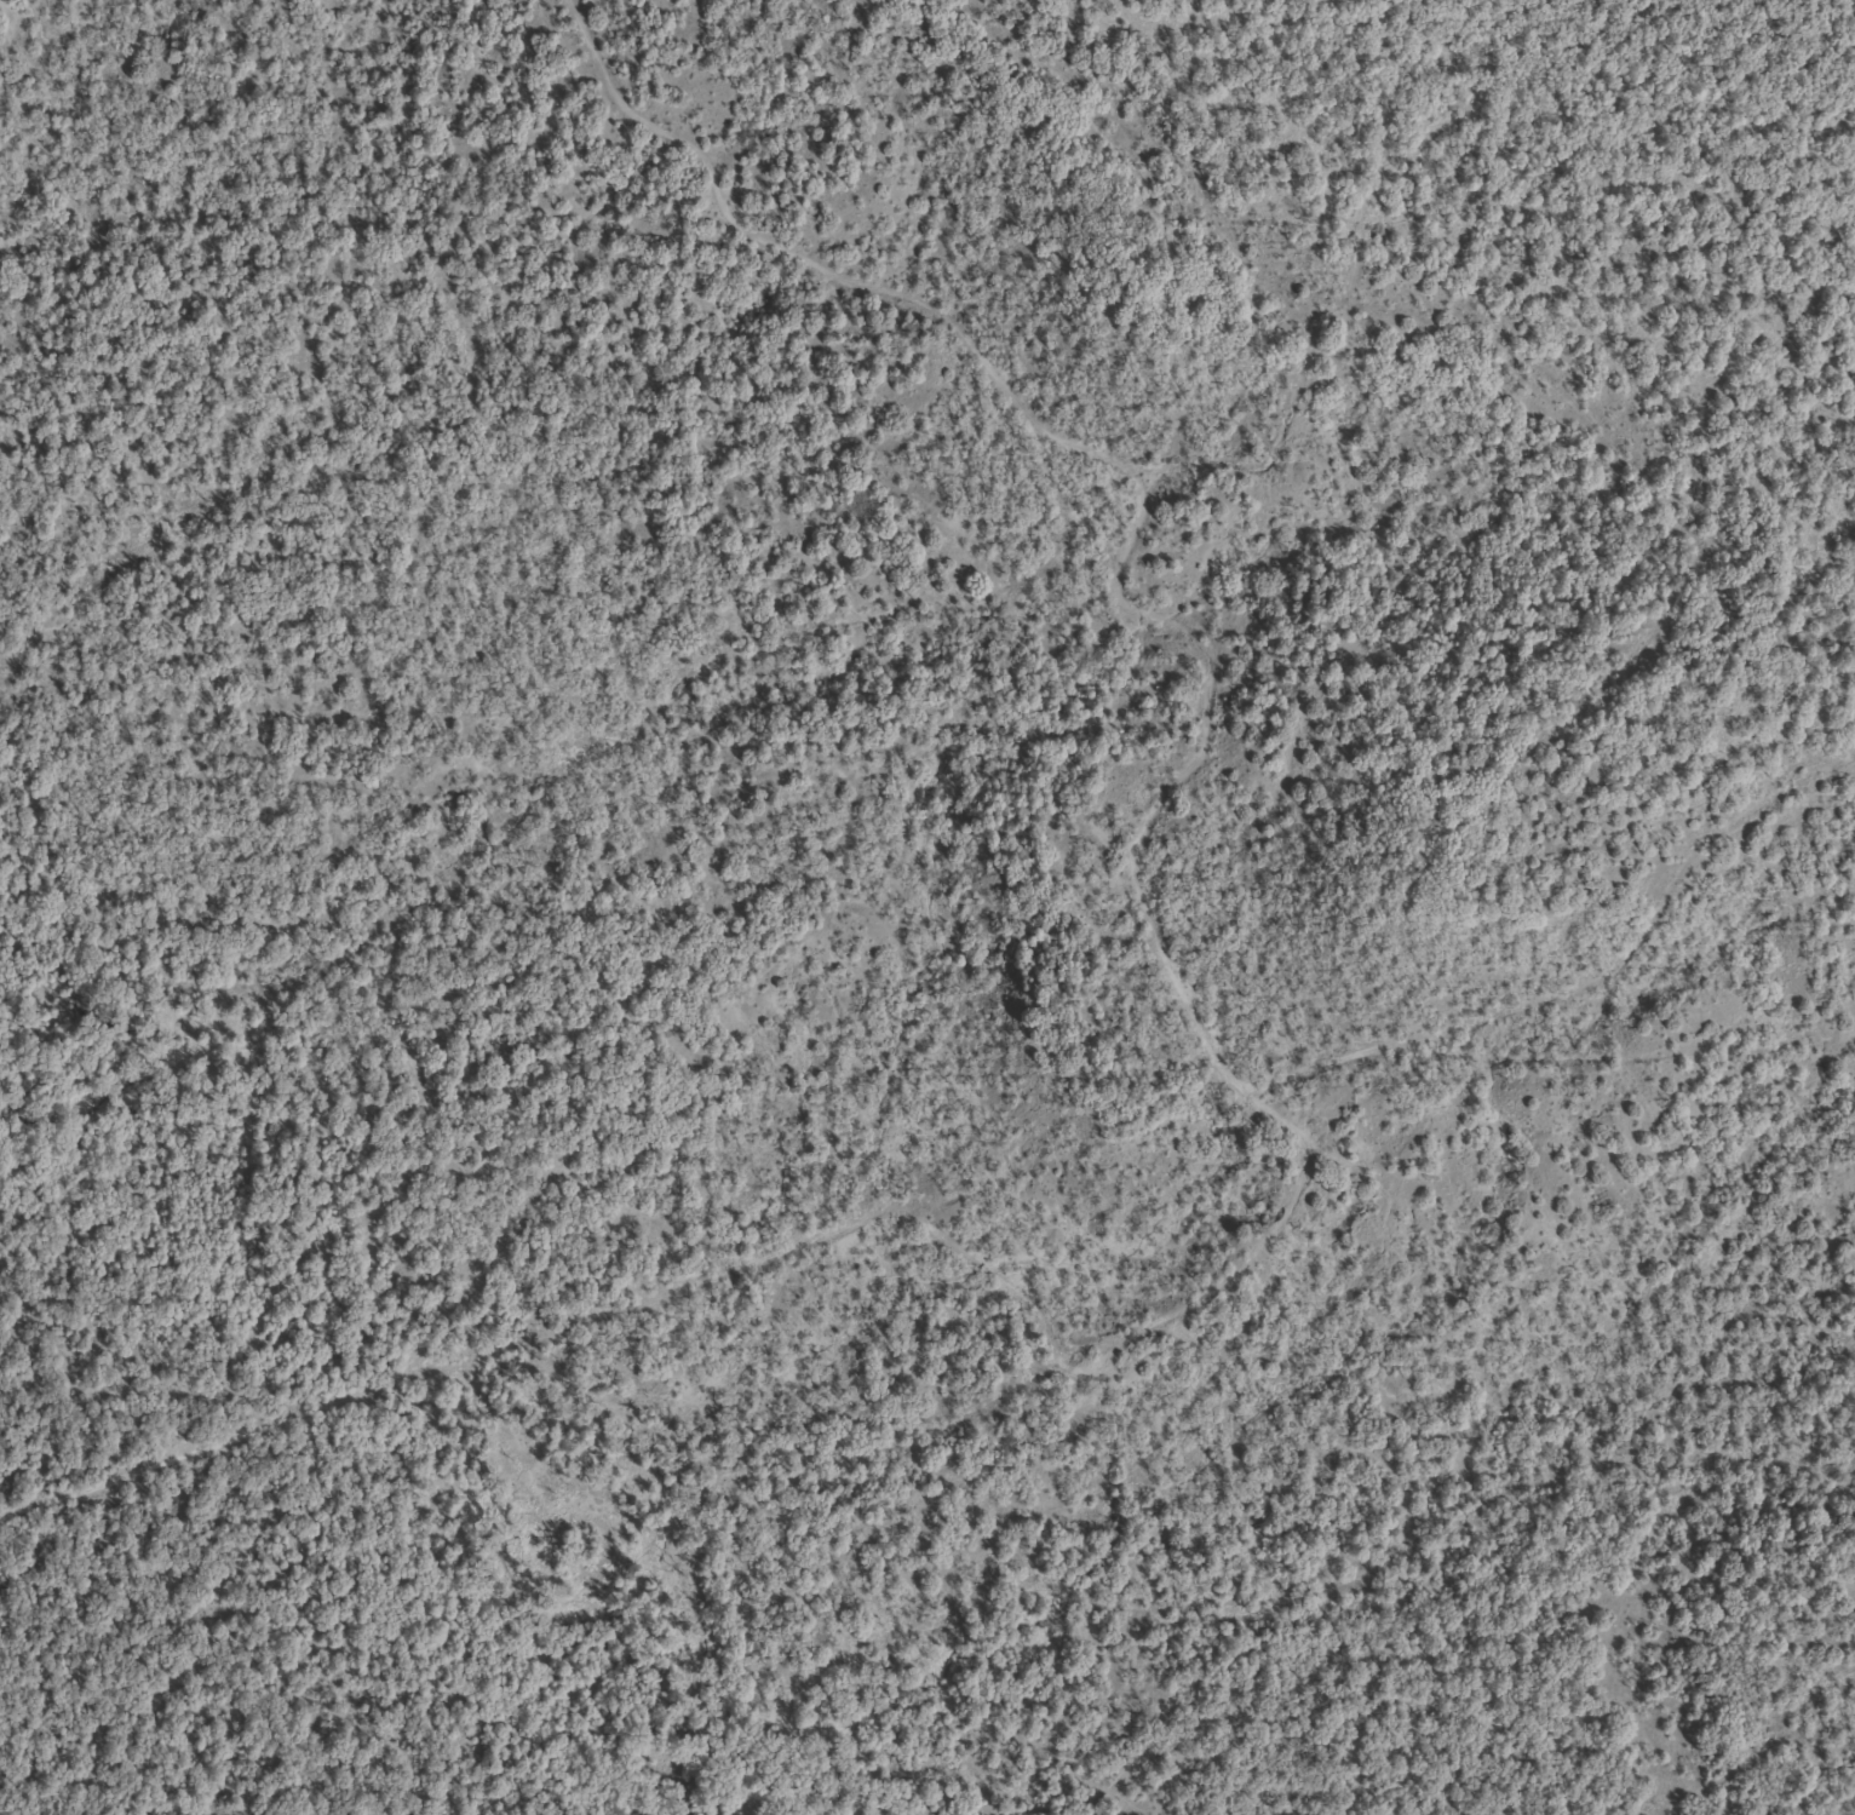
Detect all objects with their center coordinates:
road: (1172, 626)

